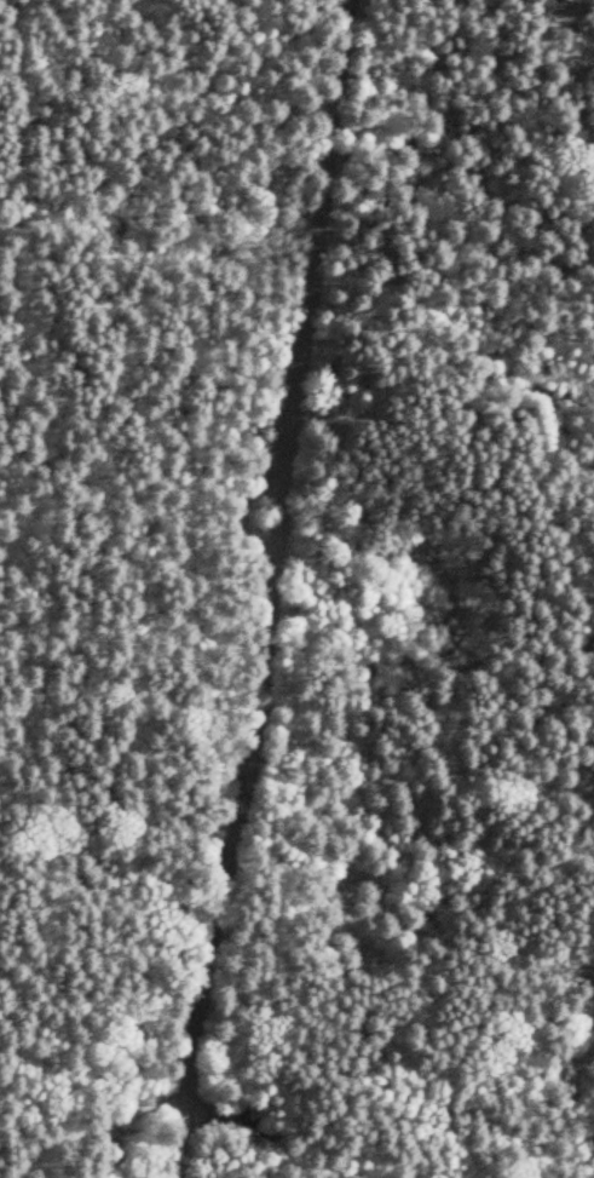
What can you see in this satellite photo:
road: (276, 470)
park: (296, 588)
road: (184, 1057)

